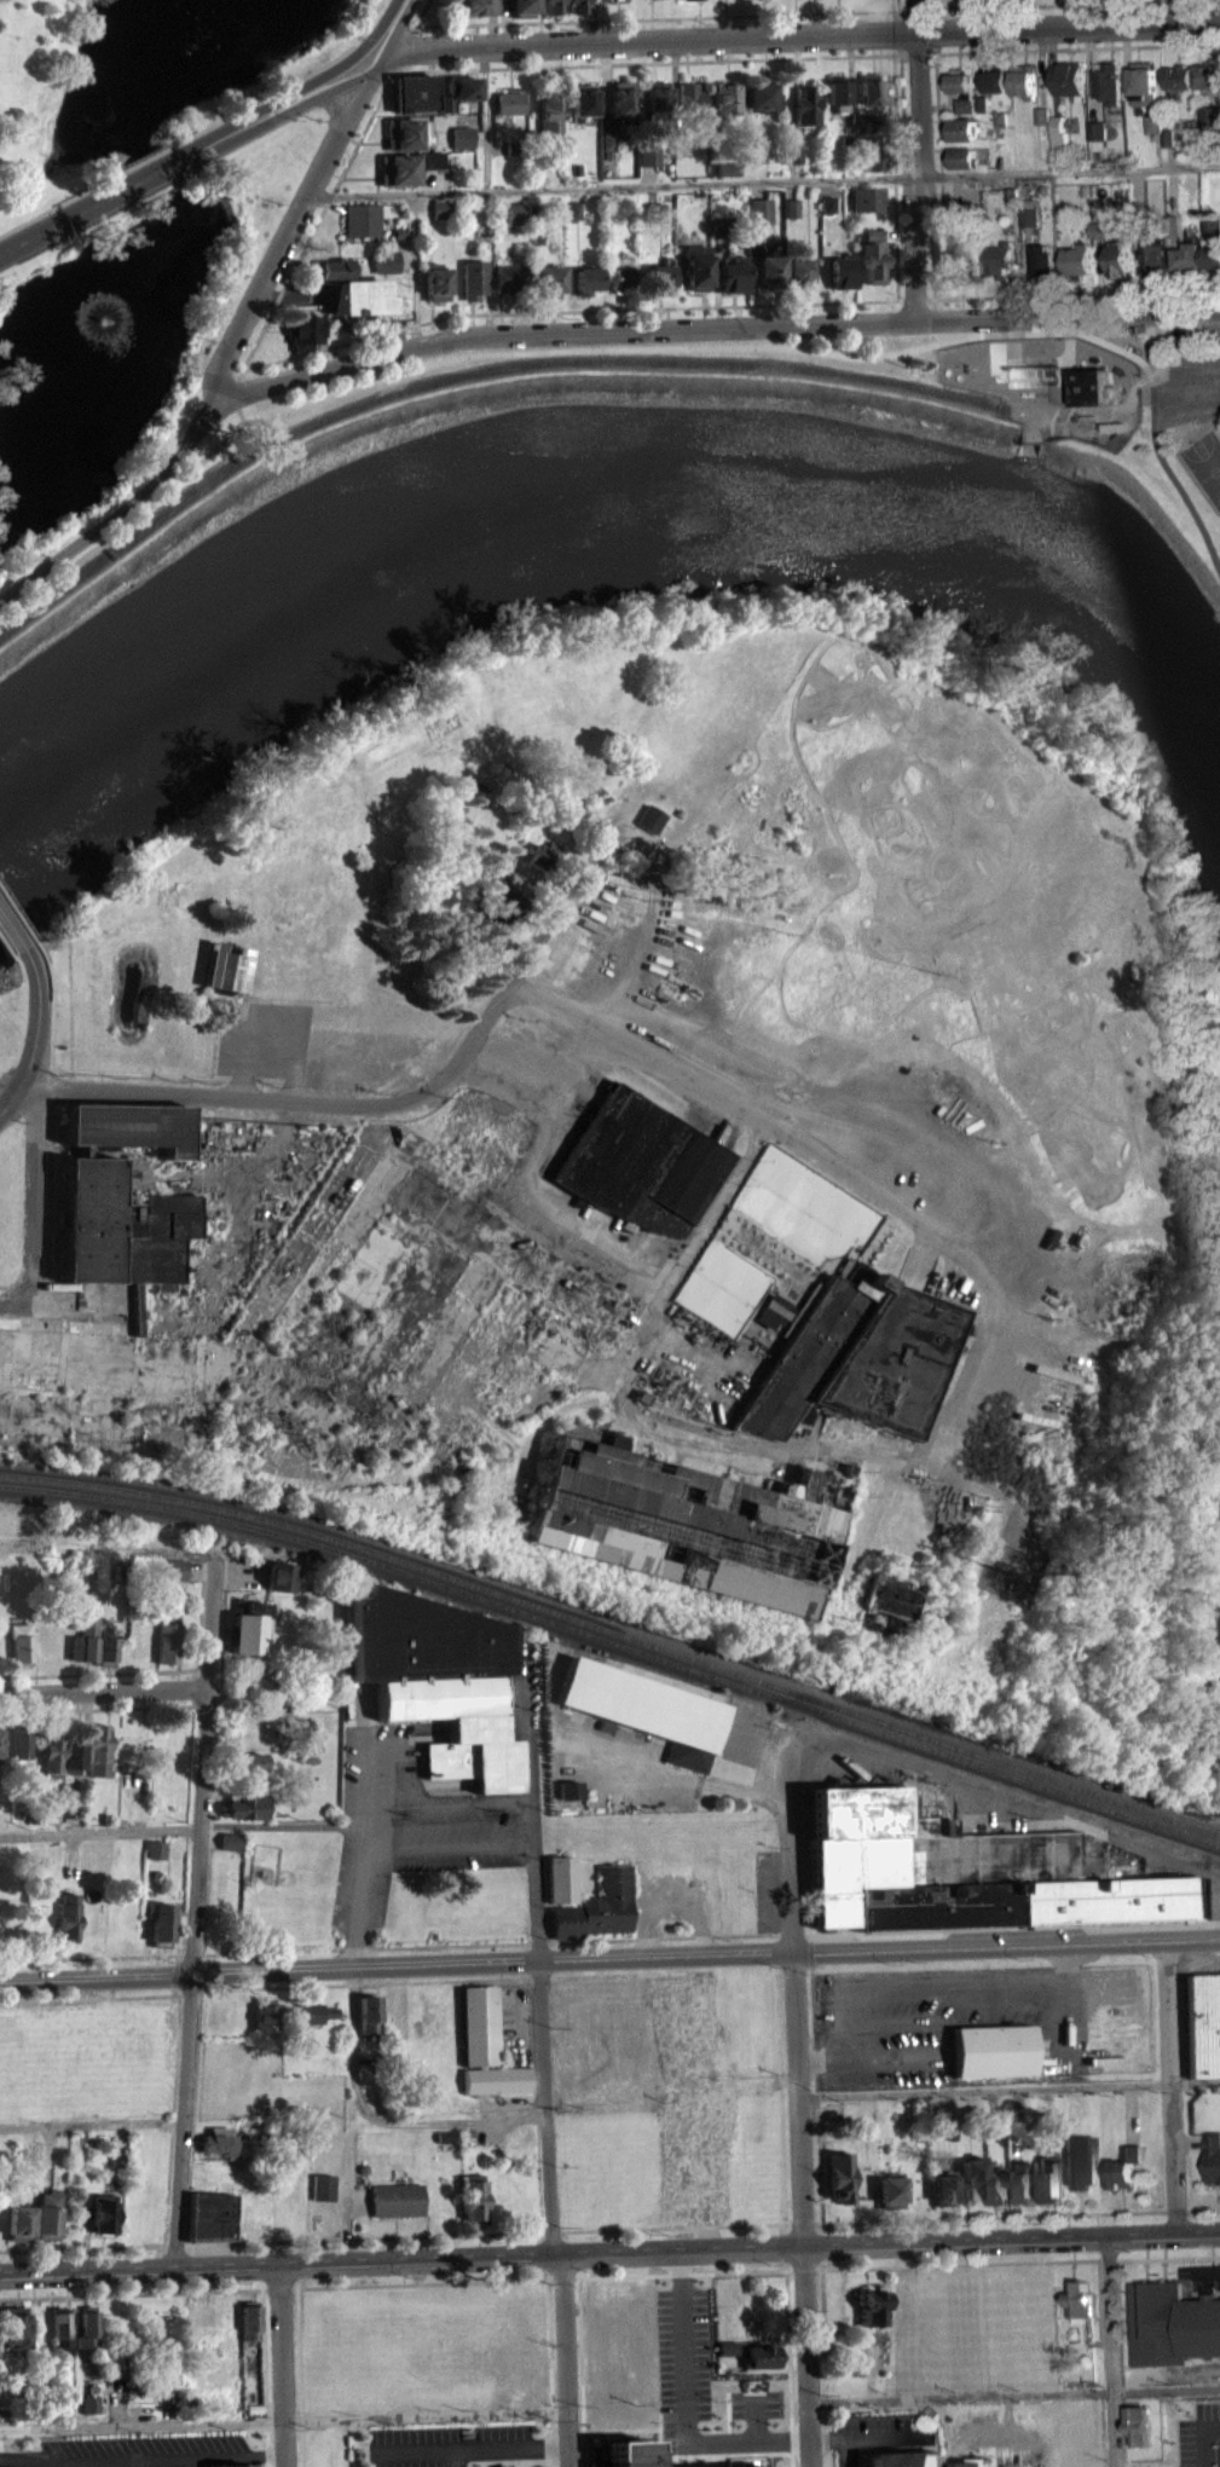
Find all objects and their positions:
building: (724, 0)
building: (614, 2)
building: (657, 2)
building: (758, 2)
building: (692, 4)
road: (892, 5)
road: (1063, 5)
road: (925, 10)
building: (551, 11)
building: (576, 11)
road: (420, 12)
building: (475, 12)
building: (522, 12)
road: (661, 17)
road: (383, 18)
road: (592, 19)
road: (389, 21)
road: (895, 31)
road: (800, 34)
road: (428, 47)
road: (1058, 48)
road: (376, 56)
road: (596, 63)
building: (1207, 74)
building: (993, 77)
building: (1066, 79)
building: (1173, 80)
building: (1020, 81)
building: (955, 82)
building: (1140, 82)
building: (1104, 83)
road: (325, 86)
building: (462, 87)
building: (872, 88)
building: (839, 91)
building: (993, 91)
building: (762, 92)
building: (414, 93)
building: (659, 96)
building: (693, 97)
building: (623, 98)
building: (728, 99)
building: (583, 100)
building: (445, 103)
building: (509, 103)
building: (977, 103)
building: (962, 105)
building: (808, 106)
building: (549, 110)
building: (1037, 114)
building: (961, 115)
road: (484, 116)
building: (1210, 117)
building: (995, 119)
building: (866, 122)
building: (1149, 123)
building: (956, 129)
building: (406, 133)
building: (1054, 133)
building: (1149, 133)
building: (1092, 134)
building: (462, 137)
building: (1163, 138)
road: (177, 141)
building: (850, 141)
building: (609, 143)
building: (681, 144)
building: (1208, 145)
building: (513, 148)
road: (190, 150)
building: (759, 151)
road: (935, 151)
building: (796, 152)
building: (652, 154)
building: (958, 157)
building: (1208, 157)
building: (877, 158)
road: (917, 158)
building: (759, 161)
building: (406, 166)
building: (652, 166)
building: (958, 167)
building: (579, 168)
building: (730, 168)
building: (875, 169)
road: (761, 181)
building: (1006, 196)
building: (872, 197)
building: (832, 203)
building: (796, 207)
building: (443, 208)
building: (764, 209)
building: (557, 210)
building: (576, 210)
building: (659, 212)
building: (515, 213)
building: (832, 213)
building: (1023, 215)
building: (961, 216)
building: (360, 219)
building: (1133, 219)
park: (137, 225)
building: (725, 225)
building: (1022, 225)
building: (1093, 229)
building: (485, 231)
building: (400, 232)
building: (878, 233)
road: (282, 236)
building: (1093, 238)
building: (485, 241)
building: (1208, 242)
building: (1184, 255)
building: (993, 258)
building: (1114, 259)
building: (1149, 259)
building: (1071, 260)
building: (384, 261)
building: (878, 261)
building: (1037, 261)
building: (961, 265)
building: (701, 266)
building: (334, 268)
road: (415, 268)
building: (802, 270)
building: (848, 270)
building: (774, 271)
building: (624, 272)
building: (665, 273)
building: (738, 275)
building: (330, 277)
building: (513, 277)
building: (475, 278)
building: (590, 278)
building: (551, 279)
building: (438, 281)
building: (962, 281)
road: (1077, 291)
building: (366, 299)
road: (919, 299)
road: (936, 300)
road: (567, 308)
road: (938, 318)
road: (709, 327)
building: (301, 328)
fountain: (102, 329)
road: (938, 337)
road: (648, 345)
road: (235, 392)
building: (1083, 394)
road: (241, 415)
park: (1202, 463)
river: (623, 476)
road: (114, 513)
building: (503, 775)
building: (476, 793)
building: (515, 815)
building: (649, 825)
road: (665, 832)
road: (637, 842)
road: (518, 850)
building: (538, 863)
road: (504, 886)
road: (528, 894)
building: (497, 907)
road: (649, 918)
road: (17, 921)
road: (550, 928)
road: (11, 940)
road: (5, 957)
building: (225, 976)
road: (248, 983)
road: (253, 1007)
road: (242, 1017)
road: (36, 1019)
road: (22, 1030)
road: (245, 1035)
road: (268, 1046)
parking lot: (266, 1048)
road: (543, 1075)
road: (71, 1080)
road: (233, 1090)
road: (12, 1099)
road: (293, 1109)
road: (838, 1171)
building: (641, 1172)
building: (92, 1185)
road: (235, 1186)
road: (34, 1195)
road: (50, 1196)
park: (803, 1215)
road: (314, 1236)
road: (682, 1270)
road: (25, 1292)
road: (2, 1294)
road: (653, 1295)
park: (723, 1295)
road: (22, 1313)
building: (773, 1321)
road: (994, 1336)
building: (855, 1367)
road: (204, 1380)
road: (836, 1460)
building: (687, 1531)
building: (174, 1568)
building: (282, 1577)
building: (885, 1604)
road: (201, 1627)
building: (248, 1628)
building: (85, 1636)
building: (167, 1637)
building: (22, 1641)
railway: (615, 1641)
building: (106, 1646)
railway: (615, 1652)
road: (99, 1672)
building: (440, 1679)
road: (104, 1688)
road: (98, 1708)
building: (644, 1708)
building: (22, 1739)
building: (99, 1749)
road: (215, 1750)
building: (52, 1755)
building: (73, 1755)
building: (250, 1761)
building: (0, 1764)
building: (249, 1770)
building: (569, 1790)
building: (569, 1798)
road: (452, 1804)
building: (245, 1807)
building: (68, 1808)
building: (50, 1813)
building: (67, 1818)
building: (50, 1822)
parking lot: (417, 1826)
road: (185, 1827)
building: (231, 1841)
road: (450, 1845)
building: (155, 1848)
building: (230, 1850)
road: (365, 1854)
building: (154, 1859)
building: (964, 1871)
building: (561, 1878)
building: (597, 1906)
road: (195, 1911)
building: (68, 1917)
building: (160, 1920)
road: (609, 1939)
road: (181, 1949)
road: (705, 1953)
road: (174, 1972)
road: (539, 1975)
road: (96, 1976)
road: (369, 1982)
road: (924, 1982)
road: (173, 1987)
road: (189, 1989)
road: (92, 1997)
building: (698, 2001)
building: (316, 2012)
building: (265, 2014)
building: (370, 2014)
building: (316, 2022)
building: (1202, 2023)
building: (993, 2050)
building: (485, 2056)
road: (1170, 2084)
road: (780, 2086)
road: (1008, 2087)
road: (798, 2108)
road: (192, 2121)
road: (172, 2122)
road: (91, 2132)
road: (200, 2143)
building: (678, 2145)
building: (219, 2149)
building: (1213, 2156)
building: (1079, 2160)
building: (1123, 2166)
building: (838, 2176)
building: (971, 2178)
building: (1047, 2178)
building: (1020, 2180)
building: (322, 2186)
building: (942, 2186)
building: (998, 2186)
building: (887, 2189)
building: (473, 2195)
building: (397, 2199)
building: (102, 2213)
building: (47, 2214)
building: (18, 2220)
building: (202, 2224)
road: (701, 2224)
building: (224, 2225)
road: (781, 2246)
road: (609, 2248)
road: (164, 2254)
road: (174, 2254)
road: (184, 2254)
road: (81, 2255)
street lamp: (155, 2261)
road: (609, 2275)
building: (1080, 2300)
road: (0, 2306)
building: (872, 2307)
building: (901, 2311)
building: (249, 2319)
road: (1120, 2324)
building: (1173, 2324)
building: (637, 2326)
building: (86, 2328)
building: (13, 2329)
building: (60, 2334)
road: (1109, 2348)
building: (762, 2356)
building: (727, 2357)
road: (565, 2358)
road: (282, 2363)
road: (825, 2367)
road: (788, 2368)
road: (301, 2376)
road: (266, 2378)
building: (764, 2397)
building: (89, 2403)
road: (609, 2408)
building: (88, 2413)
building: (1138, 2425)
parking lot: (877, 2433)
road: (833, 2438)
parking lot: (765, 2445)
road: (886, 2446)
road: (903, 2450)
building: (1216, 2457)
building: (906, 2460)
building: (979, 2462)
building: (229, 2463)

